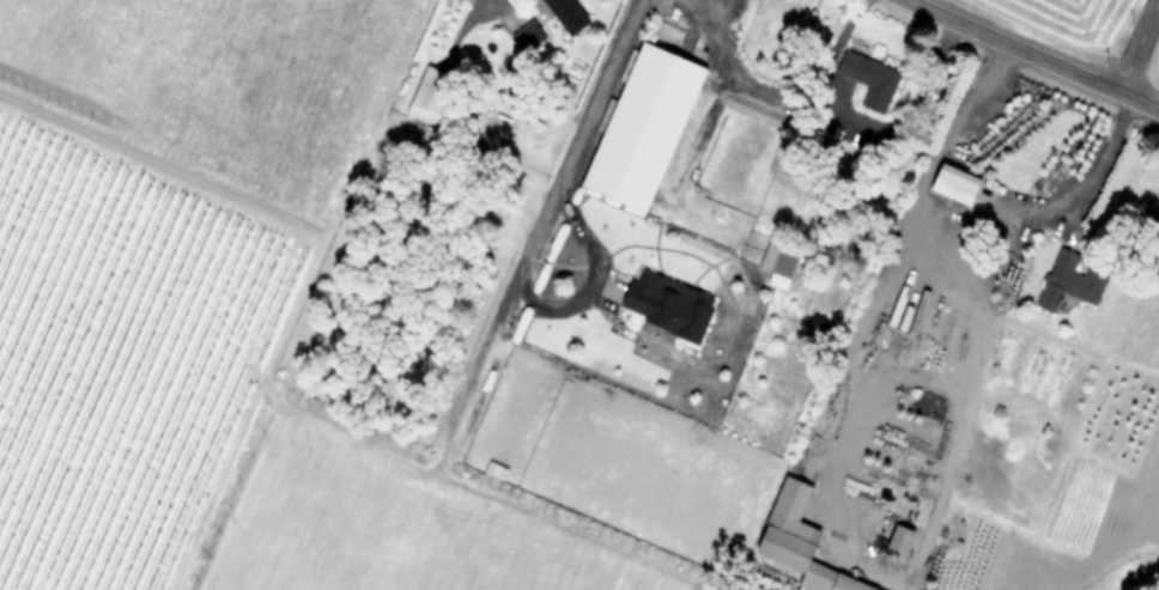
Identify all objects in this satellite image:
building: (562, 16)
crop: (1100, 25)
building: (524, 37)
road: (1135, 45)
road: (1032, 55)
road: (827, 57)
road: (726, 74)
building: (867, 80)
building: (426, 95)
road: (589, 103)
building: (637, 128)
building: (952, 183)
road: (960, 213)
building: (776, 263)
building: (1064, 287)
crop: (560, 304)
building: (918, 466)
building: (793, 539)
building: (896, 540)
road: (909, 559)

